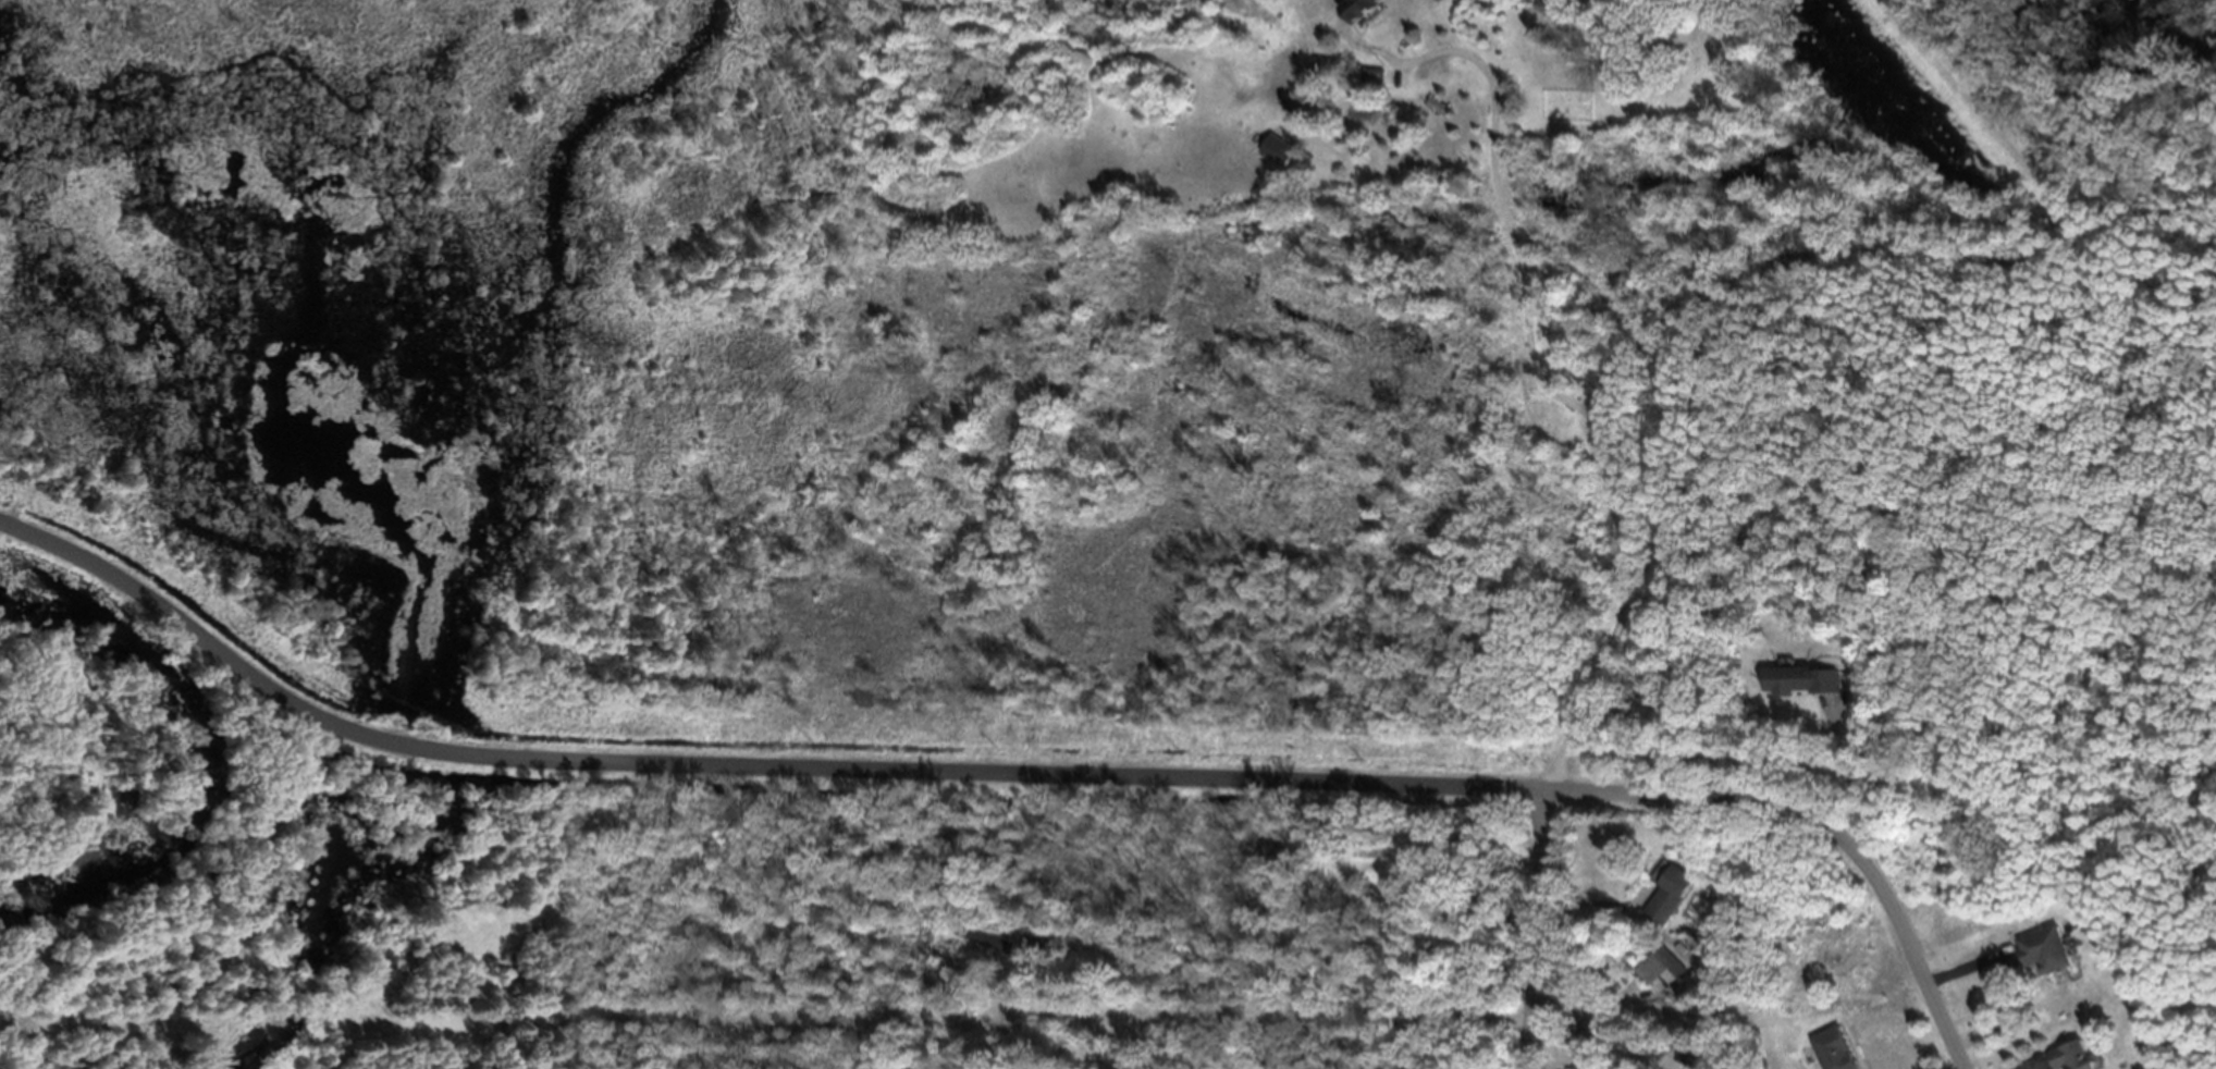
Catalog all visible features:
road: (1986, 124)
road: (2155, 219)
road: (1510, 222)
road: (1640, 339)
building: (1786, 688)
road: (738, 766)
road: (1852, 779)
road: (1819, 826)
building: (1667, 904)
road: (666, 916)
road: (1537, 930)
building: (2040, 958)
building: (1659, 976)
building: (2065, 1060)

